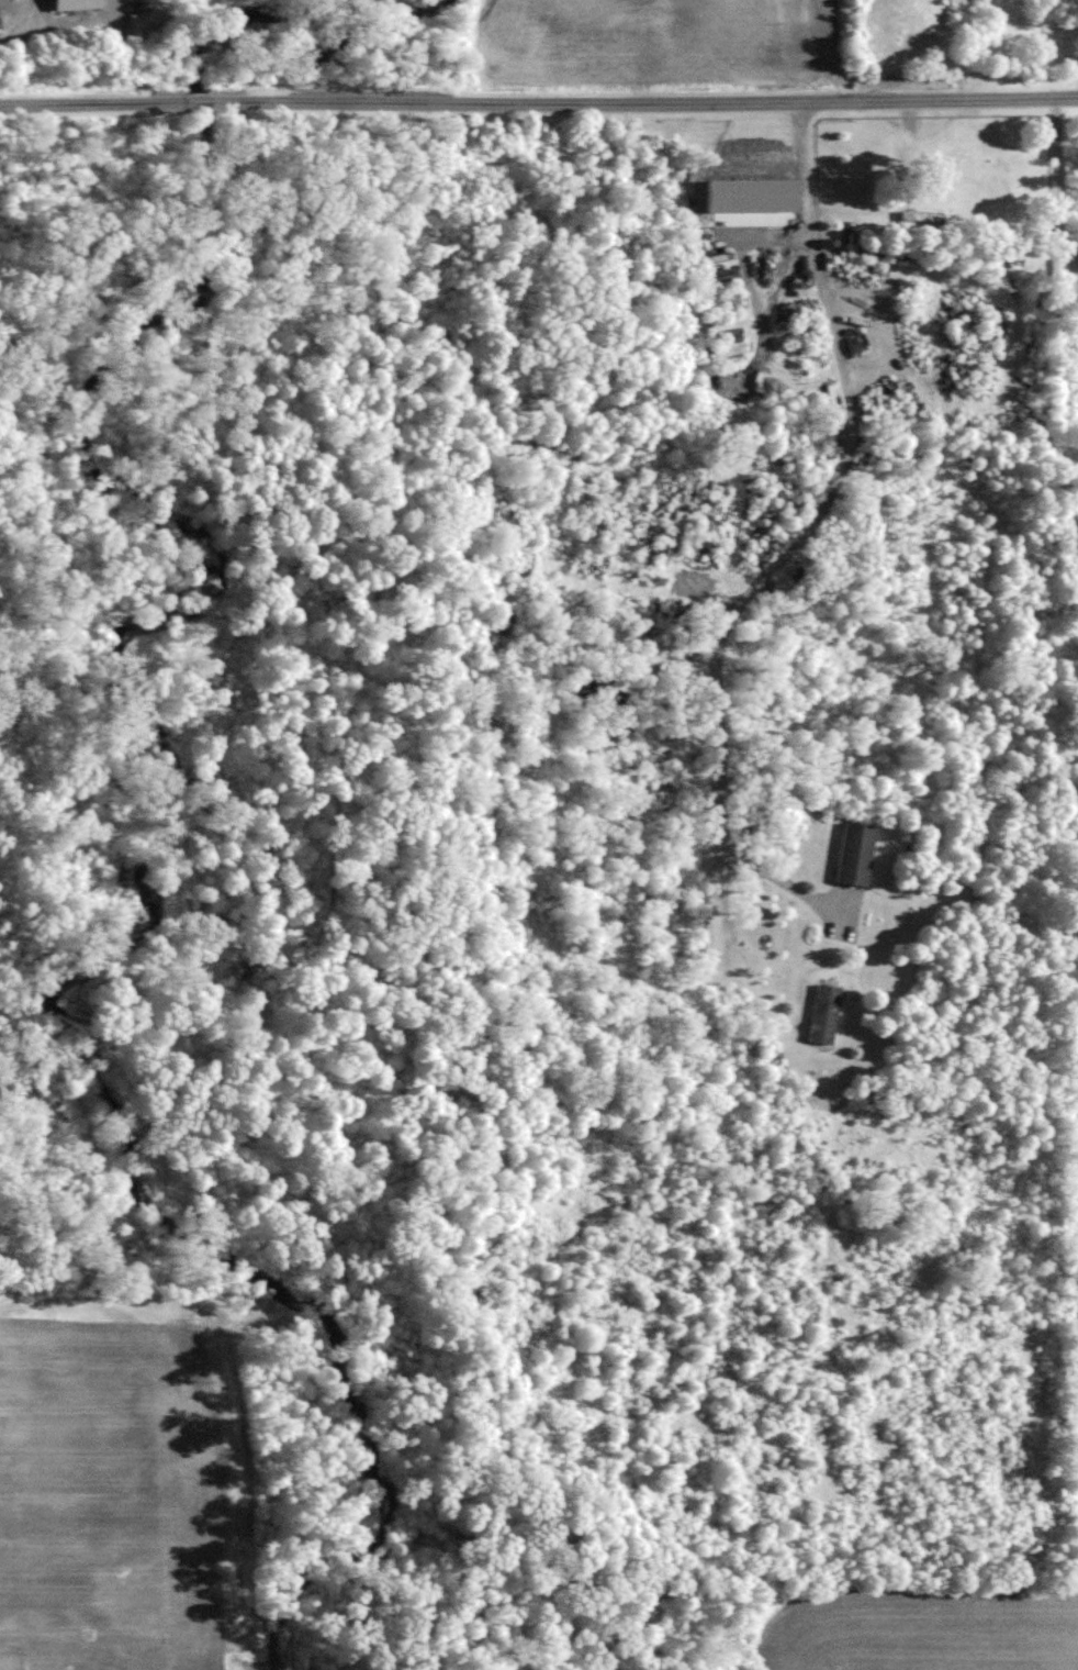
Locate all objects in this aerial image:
road: (20, 19)
road: (538, 104)
road: (1058, 187)
building: (734, 203)
building: (920, 221)
road: (798, 541)
building: (854, 855)
building: (823, 1013)

